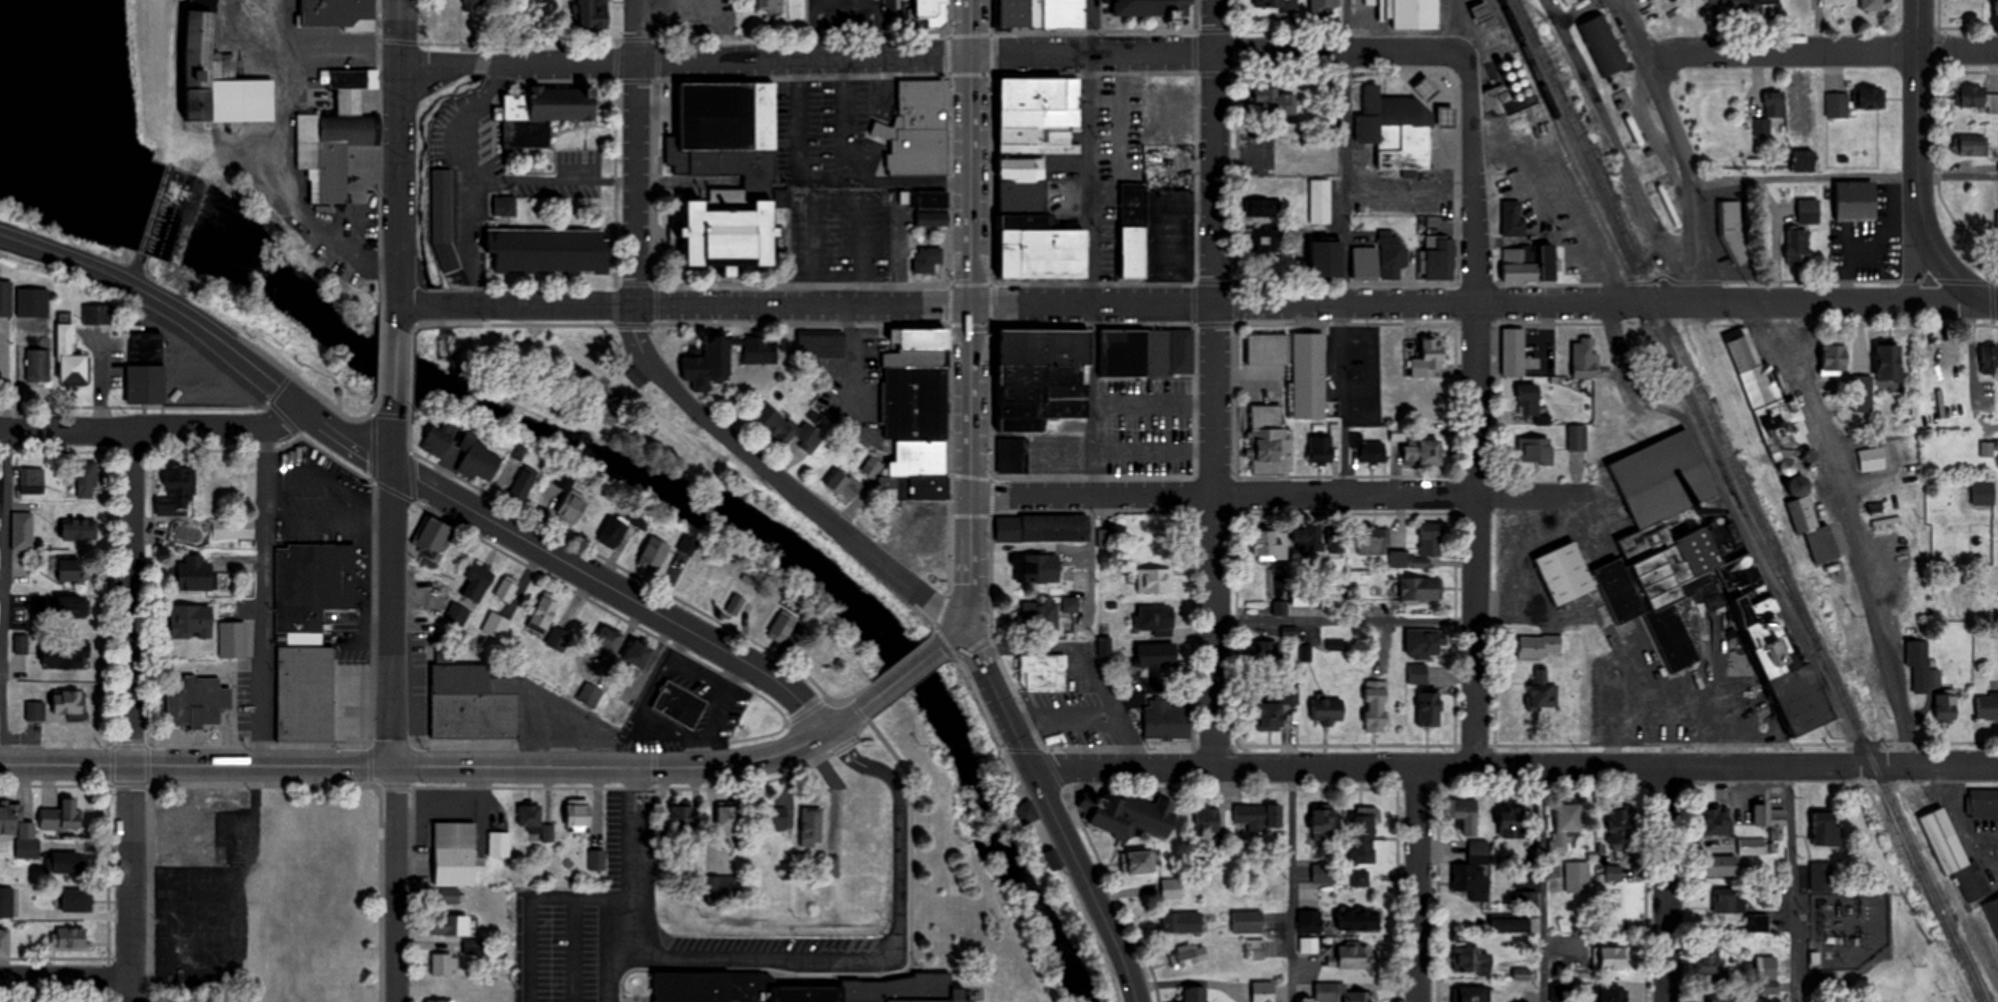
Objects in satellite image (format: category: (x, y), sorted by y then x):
road: (888, 2)
building: (1567, 2)
building: (1269, 3)
road: (825, 4)
building: (1871, 4)
building: (771, 5)
building: (1323, 5)
building: (1728, 5)
building: (1151, 7)
building: (1767, 7)
building: (1997, 7)
building: (931, 8)
building: (333, 12)
building: (1041, 13)
building: (591, 14)
parking lot: (840, 14)
building: (1409, 16)
road: (970, 28)
road: (889, 31)
building: (1603, 44)
road: (1822, 51)
road: (981, 56)
road: (435, 62)
road: (481, 64)
building: (221, 79)
building: (1978, 97)
building: (1854, 100)
building: (1276, 102)
building: (1771, 111)
building: (542, 112)
building: (1039, 114)
building: (917, 129)
building: (1397, 129)
building: (335, 141)
building: (1120, 146)
building: (1972, 146)
road: (1679, 148)
park: (1280, 150)
road: (636, 153)
road: (1621, 154)
building: (1804, 159)
road: (399, 161)
building: (1127, 167)
road: (1919, 170)
building: (729, 171)
road: (1844, 178)
building: (1320, 200)
building: (1857, 201)
dam: (152, 206)
building: (441, 206)
building: (927, 206)
building: (504, 207)
building: (1261, 207)
building: (1809, 211)
building: (1513, 217)
building: (1997, 222)
building: (1035, 227)
building: (1732, 232)
building: (1155, 233)
building: (1264, 243)
road: (1346, 245)
building: (1799, 246)
building: (549, 250)
building: (1327, 258)
building: (927, 259)
building: (1383, 260)
building: (1441, 260)
road: (1914, 262)
building: (1519, 263)
road: (1198, 303)
building: (4, 306)
road: (1095, 313)
building: (95, 314)
railway: (1655, 327)
building: (19, 336)
road: (1800, 344)
building: (821, 345)
road: (969, 345)
building: (756, 350)
building: (1146, 352)
building: (1514, 352)
building: (1990, 357)
building: (1585, 358)
building: (1835, 358)
building: (69, 360)
building: (1890, 363)
building: (709, 364)
building: (36, 365)
building: (1424, 365)
building: (1295, 366)
building: (144, 367)
road: (395, 372)
building: (1043, 376)
road: (1215, 384)
park: (587, 391)
building: (1862, 393)
building: (609, 394)
building: (1529, 399)
building: (1764, 400)
building: (1431, 402)
road: (1478, 413)
building: (917, 415)
road: (154, 428)
building: (788, 430)
building: (1578, 437)
building: (440, 439)
building: (1269, 440)
road: (392, 443)
building: (1369, 448)
building: (1323, 449)
building: (1535, 449)
building: (1987, 449)
building: (1423, 451)
building: (1012, 454)
building: (479, 460)
building: (871, 466)
building: (567, 478)
building: (86, 479)
road: (417, 479)
road: (780, 480)
building: (30, 481)
building: (523, 483)
building: (843, 484)
building: (177, 492)
road: (1276, 492)
railway: (1750, 501)
building: (572, 508)
building: (873, 520)
building: (1811, 522)
building: (82, 528)
building: (233, 528)
building: (1043, 528)
road: (1843, 528)
building: (21, 531)
building: (613, 531)
building: (1307, 536)
building: (432, 537)
building: (1336, 538)
building: (1371, 540)
building: (1269, 546)
building: (1421, 549)
building: (655, 552)
building: (1037, 567)
building: (1891, 568)
building: (67, 570)
building: (196, 574)
building: (1691, 574)
building: (1155, 580)
building: (478, 584)
building: (312, 585)
building: (507, 589)
building: (1420, 590)
road: (264, 595)
road: (6, 596)
building: (1304, 604)
building: (1070, 605)
building: (72, 607)
building: (1355, 607)
building: (1040, 614)
building: (543, 615)
building: (1156, 619)
road: (1346, 621)
building: (191, 622)
building: (784, 627)
road: (952, 639)
building: (232, 640)
building: (607, 643)
building: (1425, 643)
building: (1539, 646)
building: (64, 655)
building: (639, 655)
building: (1158, 655)
building: (1266, 656)
building: (1919, 664)
building: (1043, 673)
building: (1417, 674)
road: (899, 680)
building: (301, 687)
building: (1543, 691)
building: (589, 695)
building: (195, 702)
building: (473, 703)
building: (680, 704)
building: (69, 705)
building: (1377, 706)
building: (1946, 707)
building: (1987, 707)
building: (1328, 709)
building: (1430, 709)
building: (35, 712)
road: (131, 715)
building: (1166, 720)
road: (840, 723)
road: (395, 733)
road: (415, 765)
road: (1515, 768)
building: (1983, 803)
building: (1027, 813)
road: (1053, 813)
building: (1463, 814)
building: (1129, 815)
building: (1258, 815)
building: (61, 816)
building: (579, 816)
building: (1774, 817)
building: (531, 818)
building: (776, 818)
building: (682, 819)
building: (730, 819)
building: (1208, 819)
building: (1324, 819)
building: (1718, 821)
building: (15, 822)
building: (1512, 823)
building: (1566, 825)
building: (812, 827)
building: (1364, 827)
building: (1620, 829)
building: (1827, 829)
building: (548, 833)
building: (499, 844)
building: (1752, 847)
building: (1952, 851)
building: (455, 854)
road: (636, 861)
building: (66, 862)
building: (1139, 862)
building: (1720, 866)
building: (1473, 872)
building: (1325, 873)
building: (1577, 877)
building: (1822, 877)
road: (1663, 884)
road: (1792, 884)
road: (1292, 885)
road: (1418, 885)
road: (1543, 885)
building: (1169, 889)
building: (722, 890)
building: (450, 896)
building: (77, 900)
road: (623, 901)
building: (1729, 901)
building: (6, 902)
building: (309, 905)
road: (531, 913)
building: (1993, 913)
building: (1358, 920)
building: (1185, 922)
building: (1247, 922)
building: (1758, 923)
building: (451, 926)
building: (1310, 926)
building: (1510, 926)
power substation: (1848, 927)
building: (71, 939)
building: (1567, 942)
building: (5, 943)
building: (1308, 946)
building: (1255, 949)
road: (572, 952)
road: (610, 952)
road: (897, 955)
building: (1188, 956)
building: (1353, 956)
building: (1614, 959)
building: (1472, 962)
building: (444, 964)
building: (1708, 964)
road: (67, 976)
building: (1767, 976)
building: (805, 987)
building: (1263, 991)
building: (1339, 994)
building: (1474, 994)
building: (1195, 995)
building: (1614, 995)
building: (1726, 997)
building: (439, 1001)

